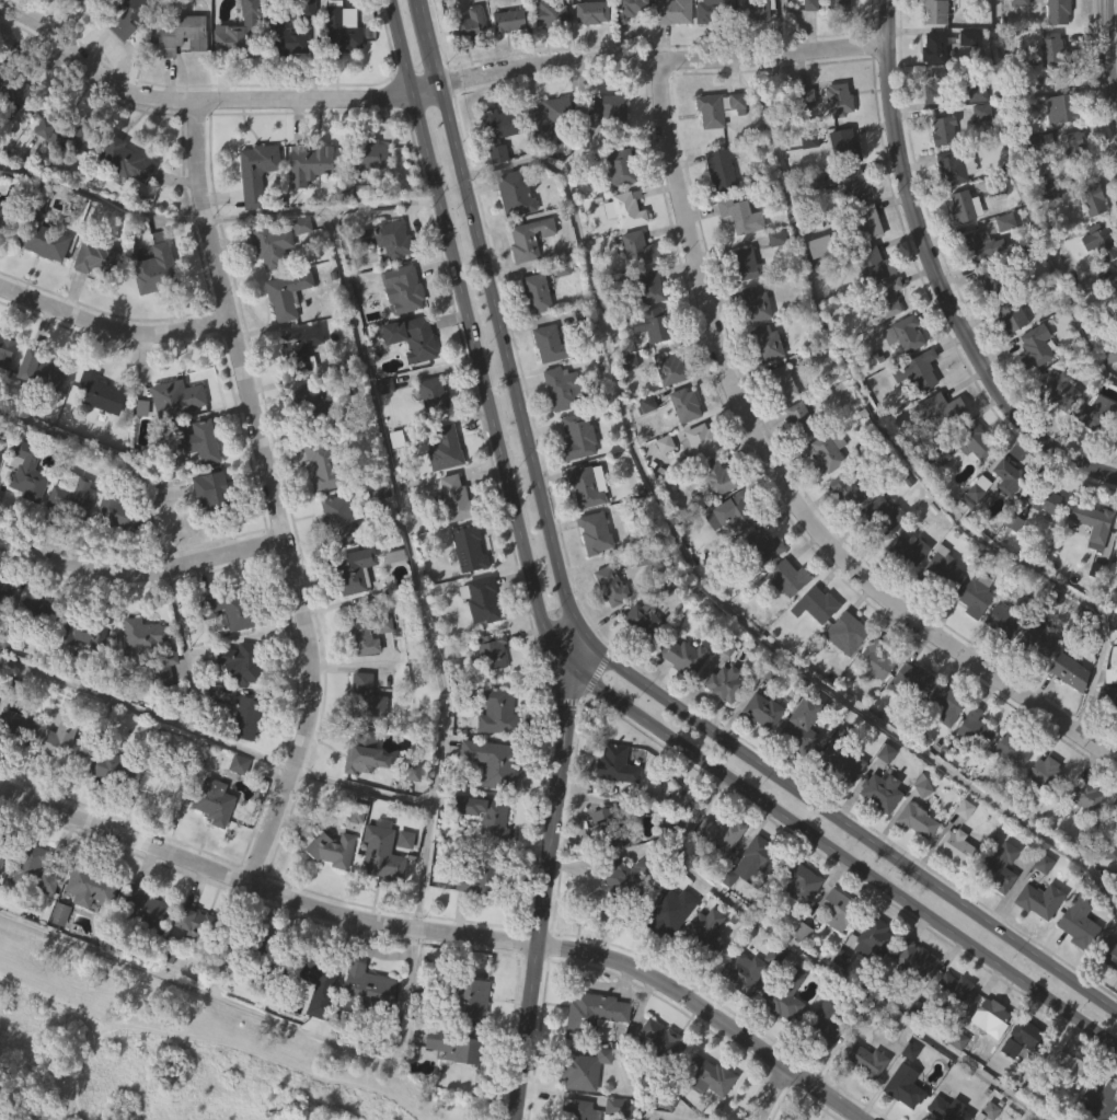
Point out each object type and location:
building: (839, 5)
building: (304, 9)
building: (629, 9)
building: (752, 9)
building: (16, 11)
building: (671, 11)
building: (711, 11)
building: (1057, 11)
building: (589, 12)
building: (933, 12)
building: (548, 14)
building: (131, 16)
building: (74, 18)
building: (506, 21)
building: (469, 23)
building: (342, 30)
building: (280, 31)
building: (180, 34)
building: (238, 35)
building: (833, 36)
road: (425, 39)
building: (1016, 42)
building: (306, 45)
road: (398, 46)
building: (808, 46)
building: (752, 47)
building: (629, 49)
building: (933, 49)
building: (1053, 51)
building: (131, 53)
building: (707, 54)
building: (670, 55)
road: (1107, 55)
building: (548, 56)
building: (589, 56)
road: (663, 59)
building: (506, 65)
building: (469, 67)
road: (1113, 76)
building: (337, 77)
building: (965, 81)
building: (231, 83)
building: (286, 84)
road: (424, 86)
building: (934, 86)
building: (14, 89)
building: (1049, 92)
building: (837, 97)
road: (189, 99)
building: (715, 107)
building: (1060, 108)
building: (599, 113)
building: (981, 115)
building: (548, 118)
building: (497, 130)
building: (942, 131)
building: (64, 132)
building: (15, 136)
building: (971, 137)
building: (1038, 140)
building: (803, 141)
building: (735, 145)
building: (842, 145)
building: (1073, 149)
building: (1060, 152)
building: (606, 153)
building: (707, 154)
building: (978, 155)
building: (365, 157)
building: (315, 159)
building: (120, 161)
building: (546, 161)
building: (619, 168)
building: (953, 168)
building: (718, 170)
building: (255, 171)
building: (55, 177)
building: (497, 177)
building: (854, 184)
building: (1070, 186)
building: (841, 189)
building: (350, 190)
road: (97, 192)
building: (513, 194)
building: (366, 200)
road: (1028, 200)
building: (1091, 200)
building: (124, 205)
road: (319, 205)
building: (964, 206)
building: (307, 208)
building: (623, 210)
building: (716, 212)
building: (254, 216)
building: (739, 216)
building: (3, 217)
building: (862, 222)
building: (813, 224)
building: (1047, 234)
building: (513, 236)
building: (38, 238)
building: (530, 238)
building: (385, 239)
building: (1099, 242)
building: (267, 243)
building: (822, 245)
building: (974, 245)
building: (635, 249)
building: (623, 253)
building: (96, 261)
building: (1, 262)
building: (871, 262)
building: (742, 263)
building: (1002, 265)
building: (152, 267)
building: (299, 269)
building: (1116, 273)
road: (936, 274)
building: (38, 280)
building: (774, 281)
building: (990, 284)
building: (647, 285)
building: (1097, 285)
building: (400, 288)
building: (972, 288)
building: (817, 289)
building: (284, 292)
building: (534, 292)
building: (635, 292)
building: (882, 299)
building: (97, 300)
building: (753, 302)
building: (153, 310)
building: (369, 313)
building: (1009, 314)
building: (1115, 319)
building: (989, 322)
building: (653, 324)
road: (112, 326)
building: (1087, 326)
building: (905, 332)
building: (408, 335)
building: (533, 336)
building: (283, 338)
building: (765, 342)
building: (883, 343)
building: (548, 344)
building: (1034, 345)
building: (753, 347)
building: (297, 348)
building: (4, 350)
building: (805, 358)
building: (1007, 358)
road: (506, 363)
building: (43, 369)
building: (667, 369)
building: (916, 370)
building: (410, 381)
building: (781, 382)
road: (481, 384)
building: (763, 386)
building: (556, 388)
building: (1058, 388)
building: (1032, 390)
building: (96, 392)
building: (430, 394)
building: (5, 395)
building: (173, 396)
building: (1109, 397)
building: (312, 399)
building: (683, 403)
building: (945, 408)
building: (1095, 411)
building: (667, 412)
building: (41, 413)
building: (912, 416)
building: (801, 418)
building: (780, 427)
building: (382, 429)
building: (558, 432)
road: (886, 432)
building: (1057, 432)
building: (96, 437)
building: (576, 437)
building: (193, 440)
building: (696, 440)
building: (976, 440)
building: (309, 444)
building: (442, 447)
building: (682, 448)
building: (0, 450)
building: (140, 451)
building: (829, 451)
building: (945, 451)
road: (122, 452)
building: (1094, 455)
building: (797, 462)
building: (323, 466)
building: (25, 472)
building: (1007, 476)
building: (714, 477)
road: (782, 477)
building: (585, 484)
building: (695, 485)
building: (975, 485)
building: (661, 486)
building: (210, 488)
building: (849, 489)
road: (270, 494)
building: (69, 495)
building: (824, 496)
building: (0, 497)
building: (1043, 497)
building: (453, 498)
building: (936, 499)
building: (320, 507)
building: (114, 508)
building: (735, 510)
building: (880, 513)
building: (25, 516)
building: (337, 519)
building: (714, 519)
building: (1004, 520)
building: (1092, 523)
building: (591, 527)
building: (845, 532)
building: (972, 534)
building: (209, 535)
building: (452, 539)
building: (70, 542)
building: (1041, 543)
building: (760, 546)
building: (467, 547)
building: (906, 551)
building: (114, 555)
building: (733, 557)
building: (337, 563)
road: (413, 563)
building: (1010, 567)
building: (1089, 568)
building: (352, 569)
building: (937, 570)
road: (138, 571)
building: (592, 576)
building: (786, 577)
road: (695, 578)
building: (609, 585)
building: (760, 590)
building: (4, 591)
building: (905, 593)
building: (974, 593)
building: (479, 599)
building: (815, 603)
building: (228, 609)
building: (938, 611)
building: (35, 612)
building: (352, 612)
building: (1001, 619)
building: (641, 621)
building: (785, 621)
building: (608, 627)
building: (79, 630)
building: (366, 633)
building: (844, 633)
building: (140, 634)
building: (3, 636)
building: (970, 639)
building: (1035, 639)
building: (811, 648)
building: (492, 650)
building: (34, 653)
building: (682, 655)
road: (581, 657)
building: (872, 660)
building: (238, 661)
building: (640, 663)
building: (1001, 665)
building: (1069, 671)
building: (843, 676)
building: (80, 678)
building: (159, 678)
building: (909, 681)
building: (722, 684)
building: (1036, 684)
building: (1110, 696)
building: (364, 697)
building: (680, 698)
building: (946, 703)
building: (871, 705)
building: (761, 711)
building: (494, 712)
building: (235, 714)
building: (1067, 715)
road: (163, 717)
building: (908, 724)
building: (722, 725)
building: (799, 725)
building: (16, 727)
building: (974, 728)
building: (1109, 740)
building: (61, 741)
road: (234, 744)
building: (942, 747)
building: (1012, 749)
building: (359, 752)
building: (759, 754)
building: (839, 758)
building: (493, 761)
building: (613, 764)
building: (110, 767)
building: (18, 769)
building: (415, 771)
building: (971, 771)
building: (1045, 773)
road: (360, 786)
building: (60, 788)
building: (158, 788)
building: (879, 790)
building: (1009, 793)
building: (1083, 795)
building: (362, 797)
building: (838, 798)
building: (210, 801)
building: (237, 808)
building: (612, 808)
building: (107, 811)
building: (1114, 811)
building: (485, 815)
building: (1040, 816)
building: (916, 820)
building: (603, 829)
building: (160, 832)
road: (851, 832)
building: (718, 833)
building: (878, 834)
building: (1082, 839)
building: (212, 845)
building: (326, 847)
building: (956, 847)
building: (384, 854)
building: (1113, 855)
building: (758, 857)
building: (483, 858)
road: (843, 861)
building: (914, 863)
building: (998, 867)
building: (28, 868)
building: (475, 875)
building: (625, 875)
building: (717, 876)
building: (798, 881)
building: (403, 882)
building: (88, 887)
building: (955, 890)
building: (331, 892)
road: (544, 894)
building: (380, 897)
building: (0, 899)
building: (1038, 899)
building: (752, 901)
building: (836, 909)
building: (25, 910)
building: (997, 910)
building: (667, 911)
building: (138, 913)
building: (620, 917)
building: (1078, 921)
building: (471, 925)
building: (797, 925)
building: (45, 926)
building: (195, 926)
building: (88, 931)
road: (444, 931)
building: (701, 937)
building: (873, 938)
building: (1037, 943)
building: (1108, 950)
building: (834, 951)
building: (141, 954)
building: (667, 957)
building: (57, 958)
building: (912, 958)
building: (298, 961)
road: (824, 962)
building: (1075, 966)
building: (193, 967)
building: (741, 971)
building: (703, 973)
building: (322, 980)
building: (871, 981)
building: (951, 988)
building: (365, 989)
building: (782, 997)
building: (1106, 997)
building: (465, 998)
building: (837, 1001)
building: (911, 1002)
building: (594, 1011)
road: (258, 1012)
building: (740, 1014)
building: (315, 1015)
building: (991, 1017)
building: (822, 1023)
road: (87, 1024)
building: (365, 1029)
building: (951, 1030)
building: (1017, 1038)
building: (784, 1039)
building: (451, 1043)
building: (659, 1043)
park: (158, 1055)
building: (990, 1060)
road: (279, 1061)
building: (863, 1061)
building: (821, 1066)
building: (1066, 1066)
building: (581, 1069)
road: (35, 1070)
building: (705, 1075)
building: (1020, 1079)
building: (658, 1081)
building: (954, 1083)
building: (902, 1086)
building: (452, 1089)
road: (771, 1094)
building: (1099, 1099)
building: (863, 1104)
building: (615, 1106)
building: (1064, 1108)
building: (574, 1109)
road: (68, 1110)
building: (945, 1110)
building: (703, 1111)
road: (676, 1113)
building: (901, 1113)

